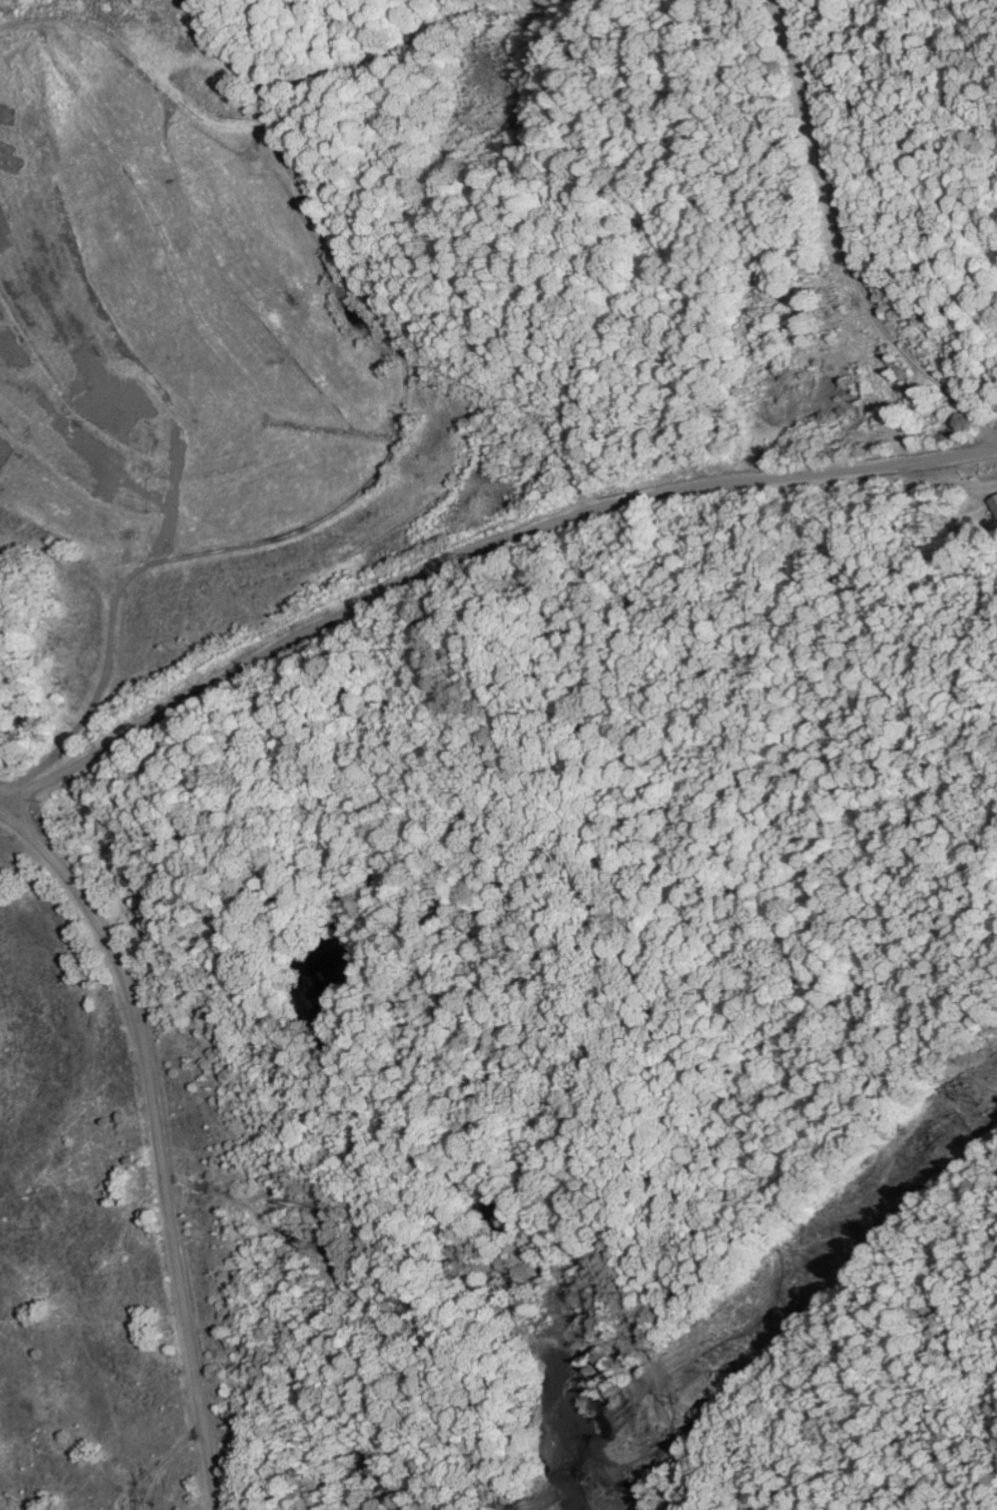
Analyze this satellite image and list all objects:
road: (336, 310)
road: (472, 553)
road: (160, 1139)

